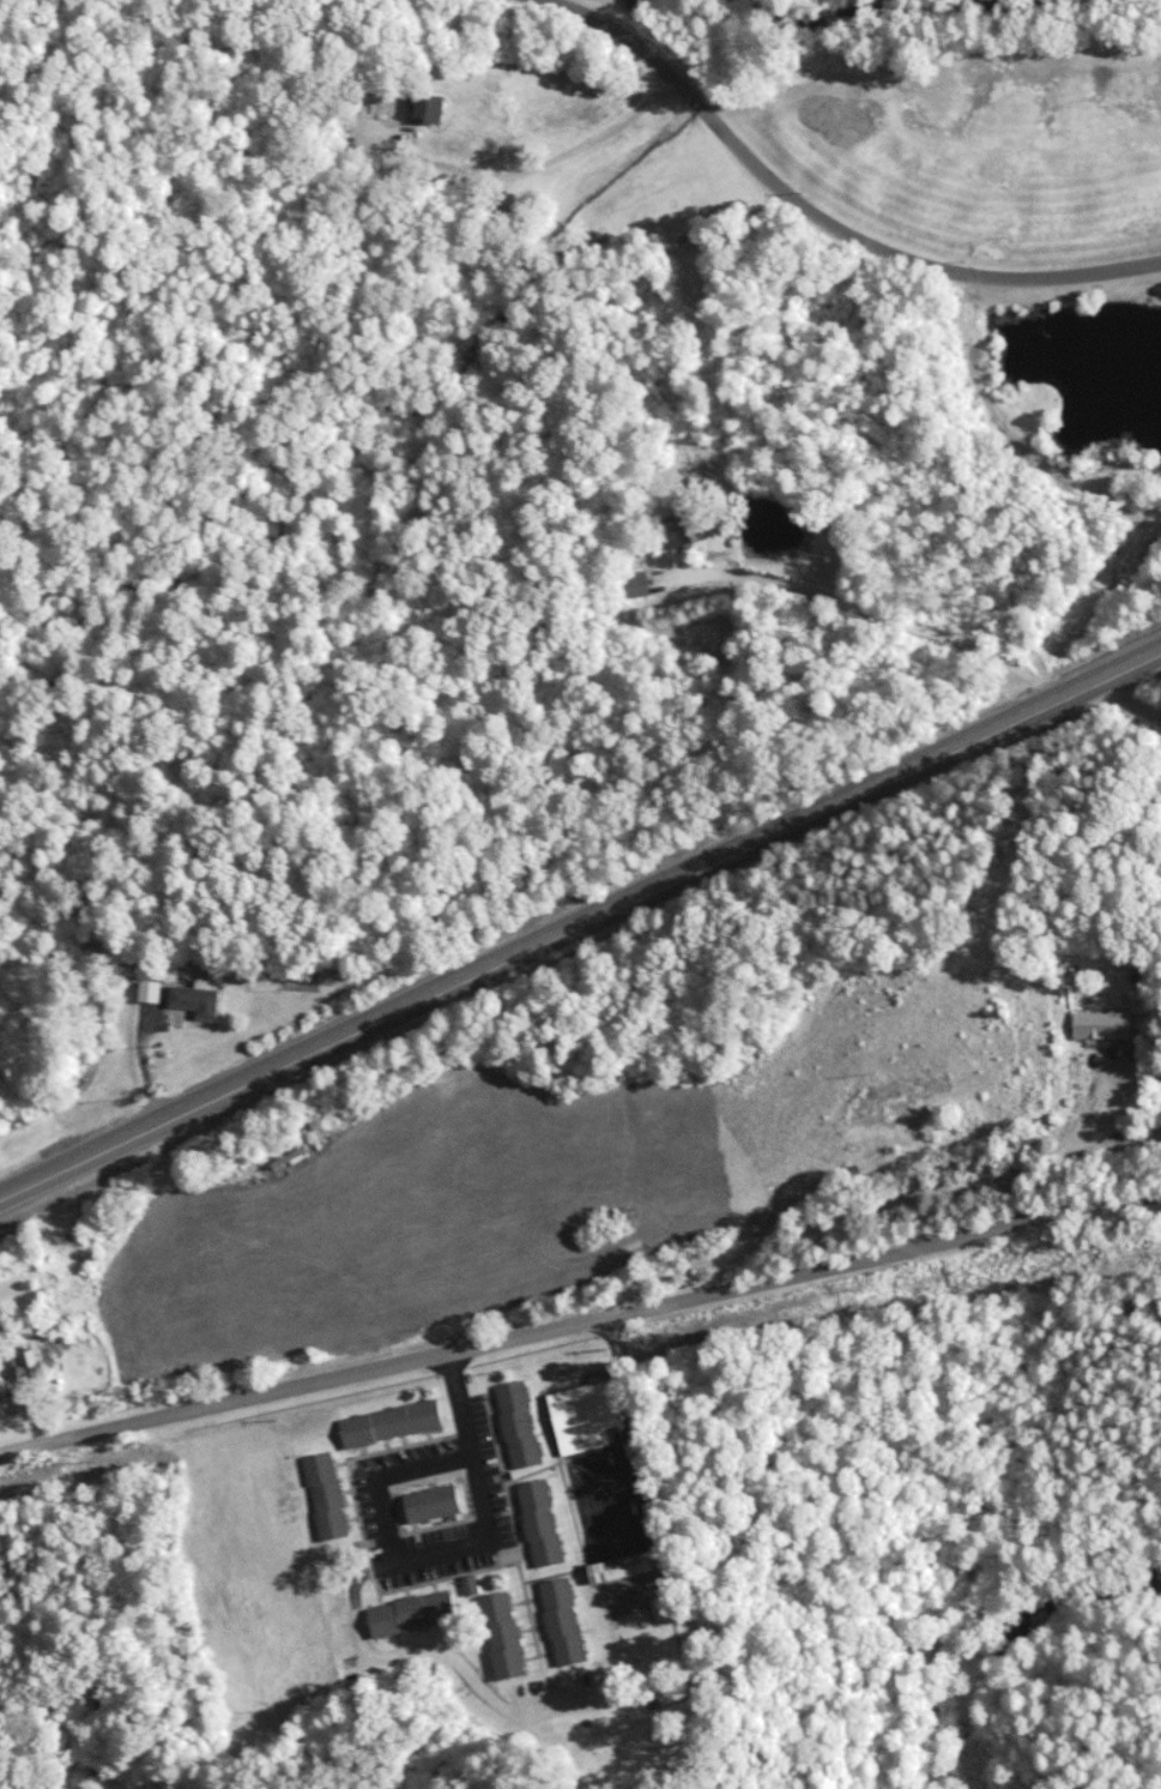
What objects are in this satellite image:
building: (431, 107)
road: (522, 170)
park: (969, 192)
road: (820, 217)
building: (679, 529)
building: (636, 582)
road: (866, 612)
road: (1139, 699)
road: (580, 923)
building: (153, 992)
building: (199, 1000)
building: (1105, 1024)
road: (144, 1067)
road: (1115, 1144)
building: (905, 1153)
building: (291, 1161)
building: (842, 1180)
road: (888, 1200)
road: (581, 1321)
building: (38, 1365)
building: (582, 1414)
building: (391, 1420)
building: (518, 1421)
building: (326, 1493)
building: (433, 1501)
road: (657, 1505)
building: (540, 1520)
road: (453, 1549)
building: (622, 1565)
building: (470, 1583)
building: (665, 1608)
building: (412, 1610)
building: (563, 1619)
building: (503, 1633)
road: (622, 1729)
park: (657, 1741)
road: (707, 1748)

